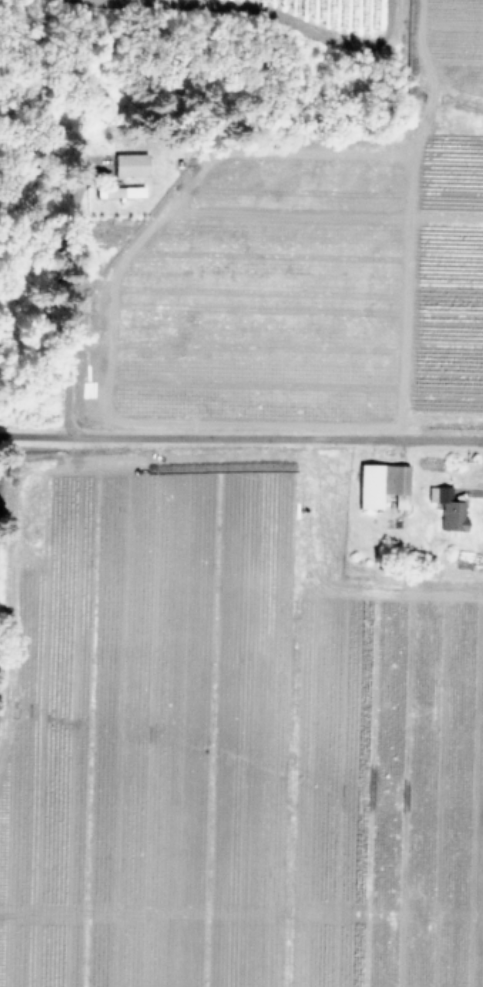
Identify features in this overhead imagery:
building: (129, 164)
building: (119, 192)
road: (67, 323)
road: (241, 438)
building: (382, 486)
building: (452, 512)
crop: (251, 532)

